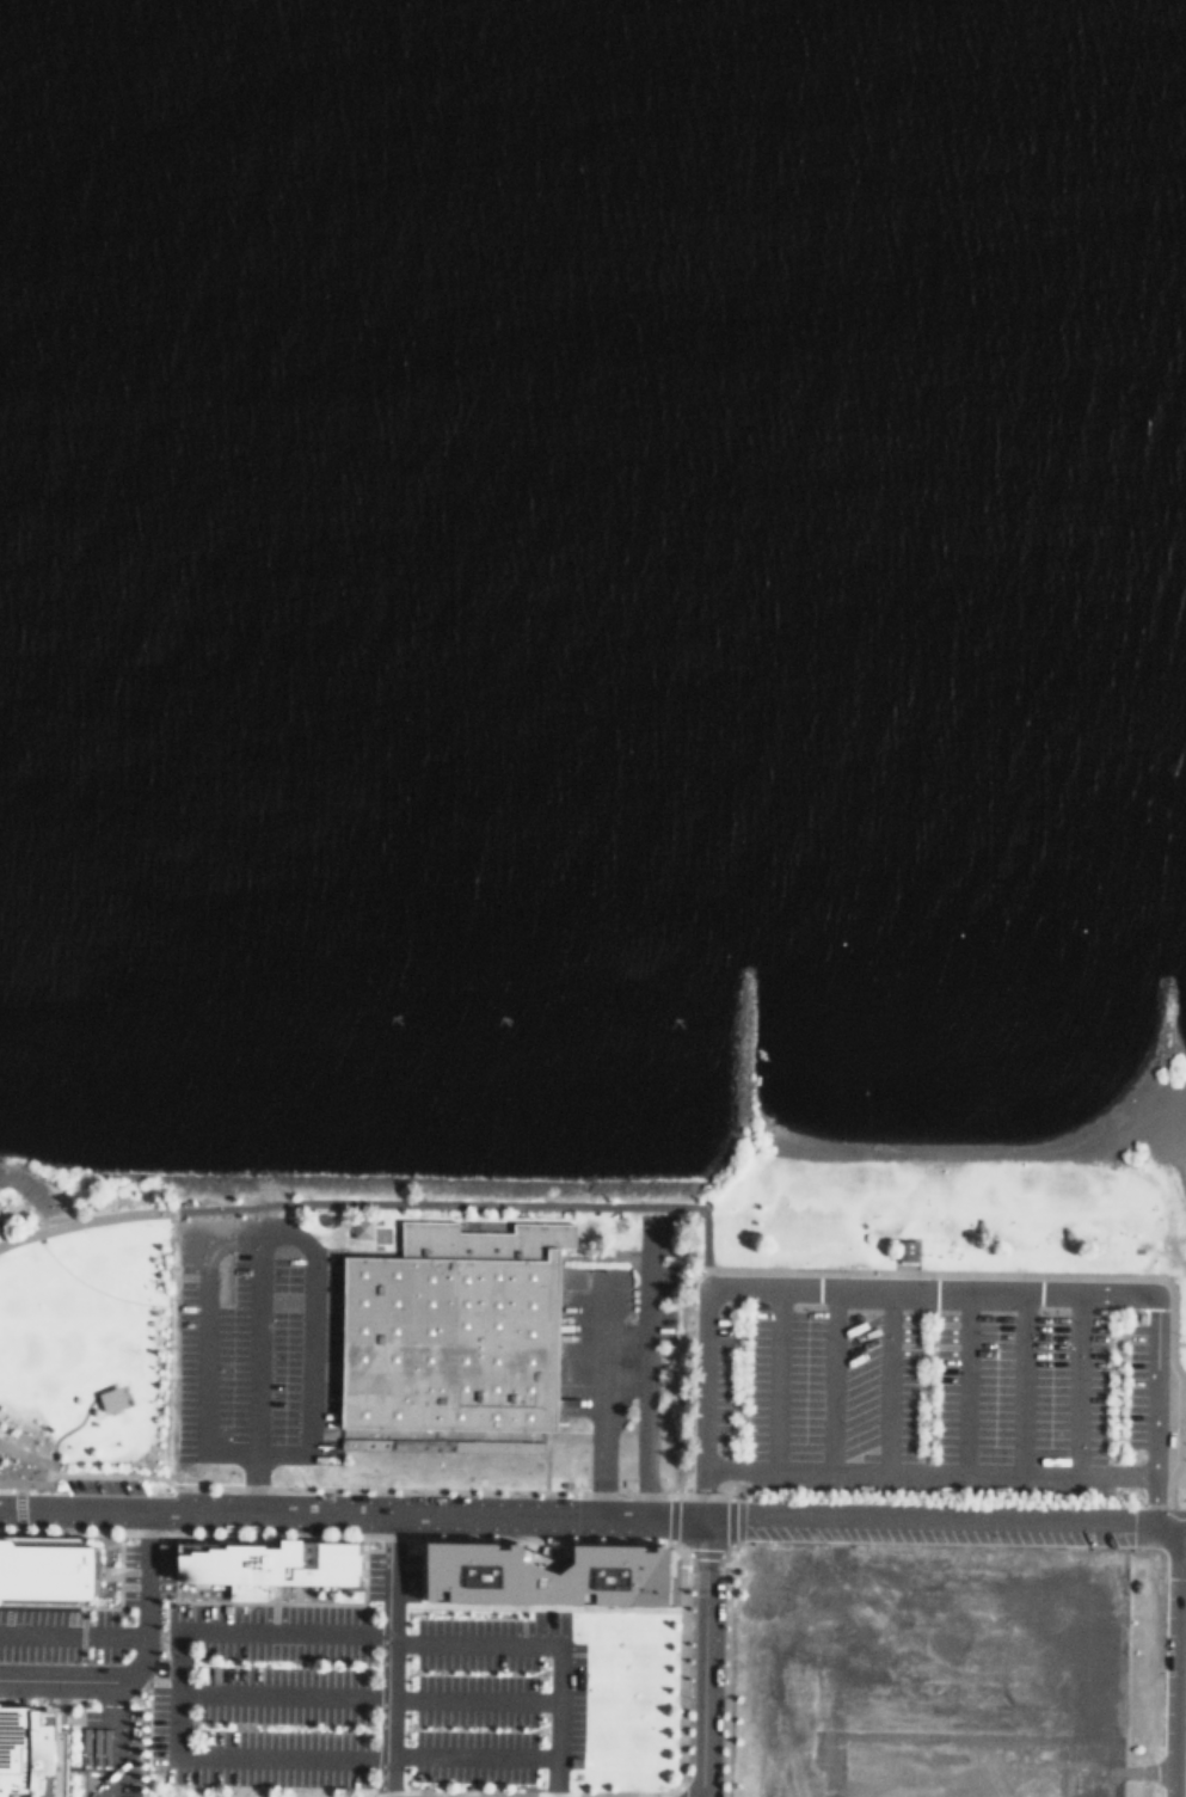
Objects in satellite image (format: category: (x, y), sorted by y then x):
road: (467, 1202)
road: (86, 1220)
building: (363, 1227)
road: (278, 1231)
road: (4, 1238)
building: (904, 1249)
road: (1056, 1275)
parking lot: (653, 1280)
road: (926, 1287)
park: (938, 1312)
park: (85, 1325)
building: (454, 1331)
road: (203, 1338)
road: (1176, 1341)
parking lot: (256, 1351)
road: (643, 1369)
road: (772, 1378)
road: (831, 1379)
road: (886, 1380)
road: (963, 1381)
road: (1019, 1382)
road: (1076, 1382)
parking lot: (927, 1388)
road: (600, 1393)
building: (116, 1397)
road: (78, 1419)
road: (42, 1462)
road: (926, 1473)
road: (592, 1514)
road: (1175, 1514)
building: (281, 1565)
building: (554, 1569)
building: (62, 1572)
road: (68, 1620)
road: (543, 1645)
road: (700, 1657)
road: (125, 1658)
road: (1169, 1664)
road: (51, 1666)
parking lot: (274, 1698)
road: (281, 1698)
road: (468, 1701)
building: (35, 1754)
road: (231, 1756)
road: (468, 1760)
road: (543, 1795)

